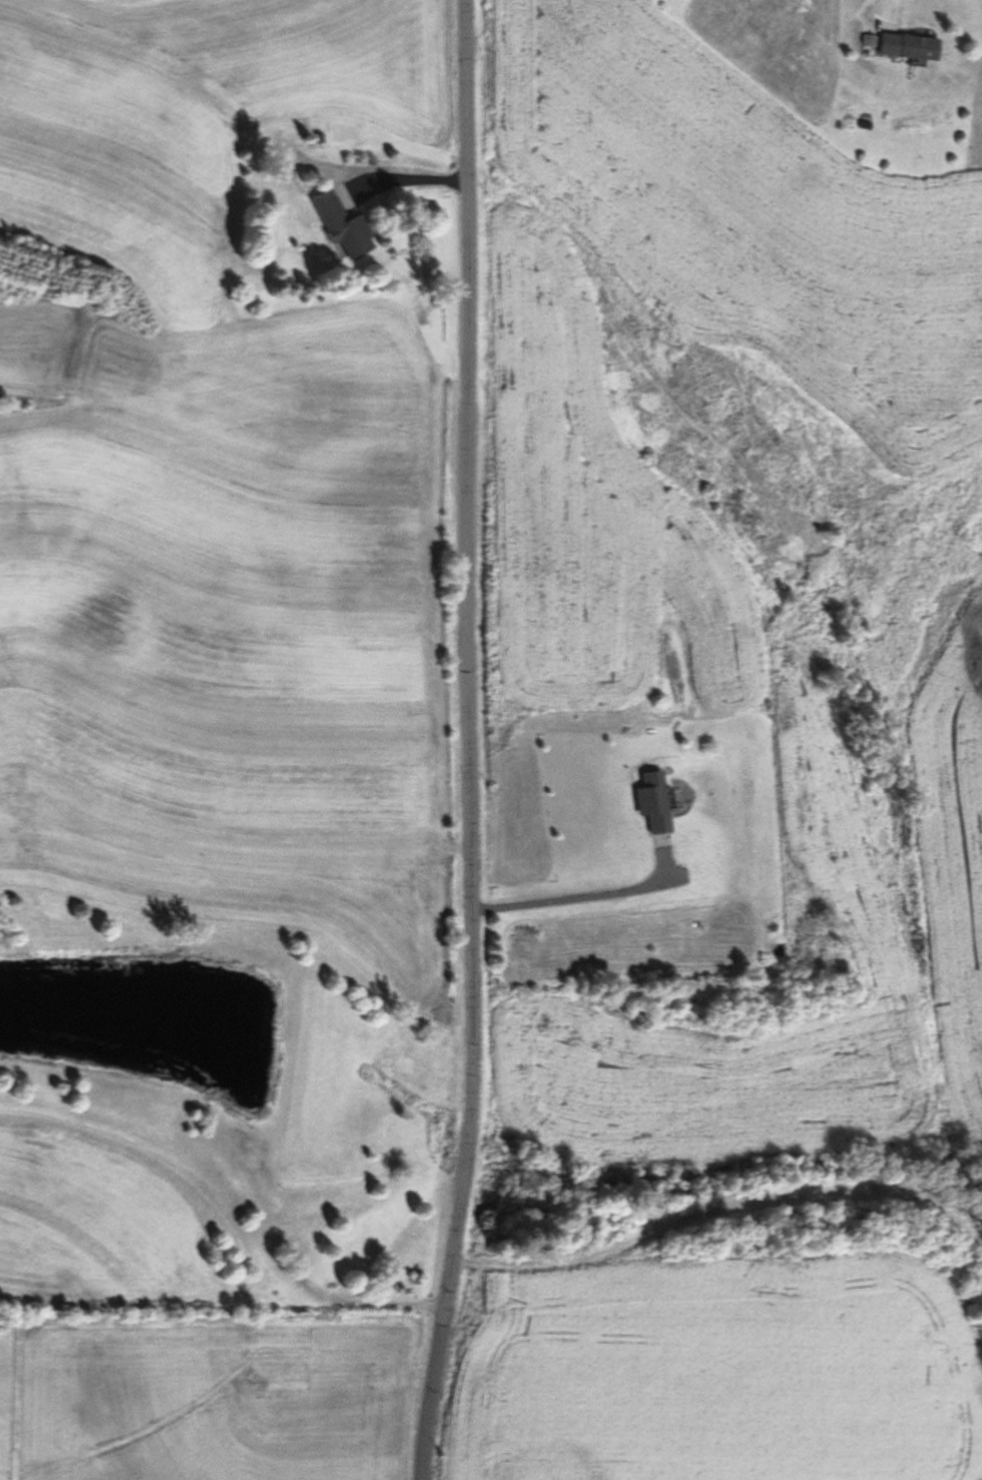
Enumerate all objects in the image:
road: (894, 5)
building: (907, 45)
building: (341, 221)
road: (472, 741)
building: (655, 802)
road: (586, 893)

